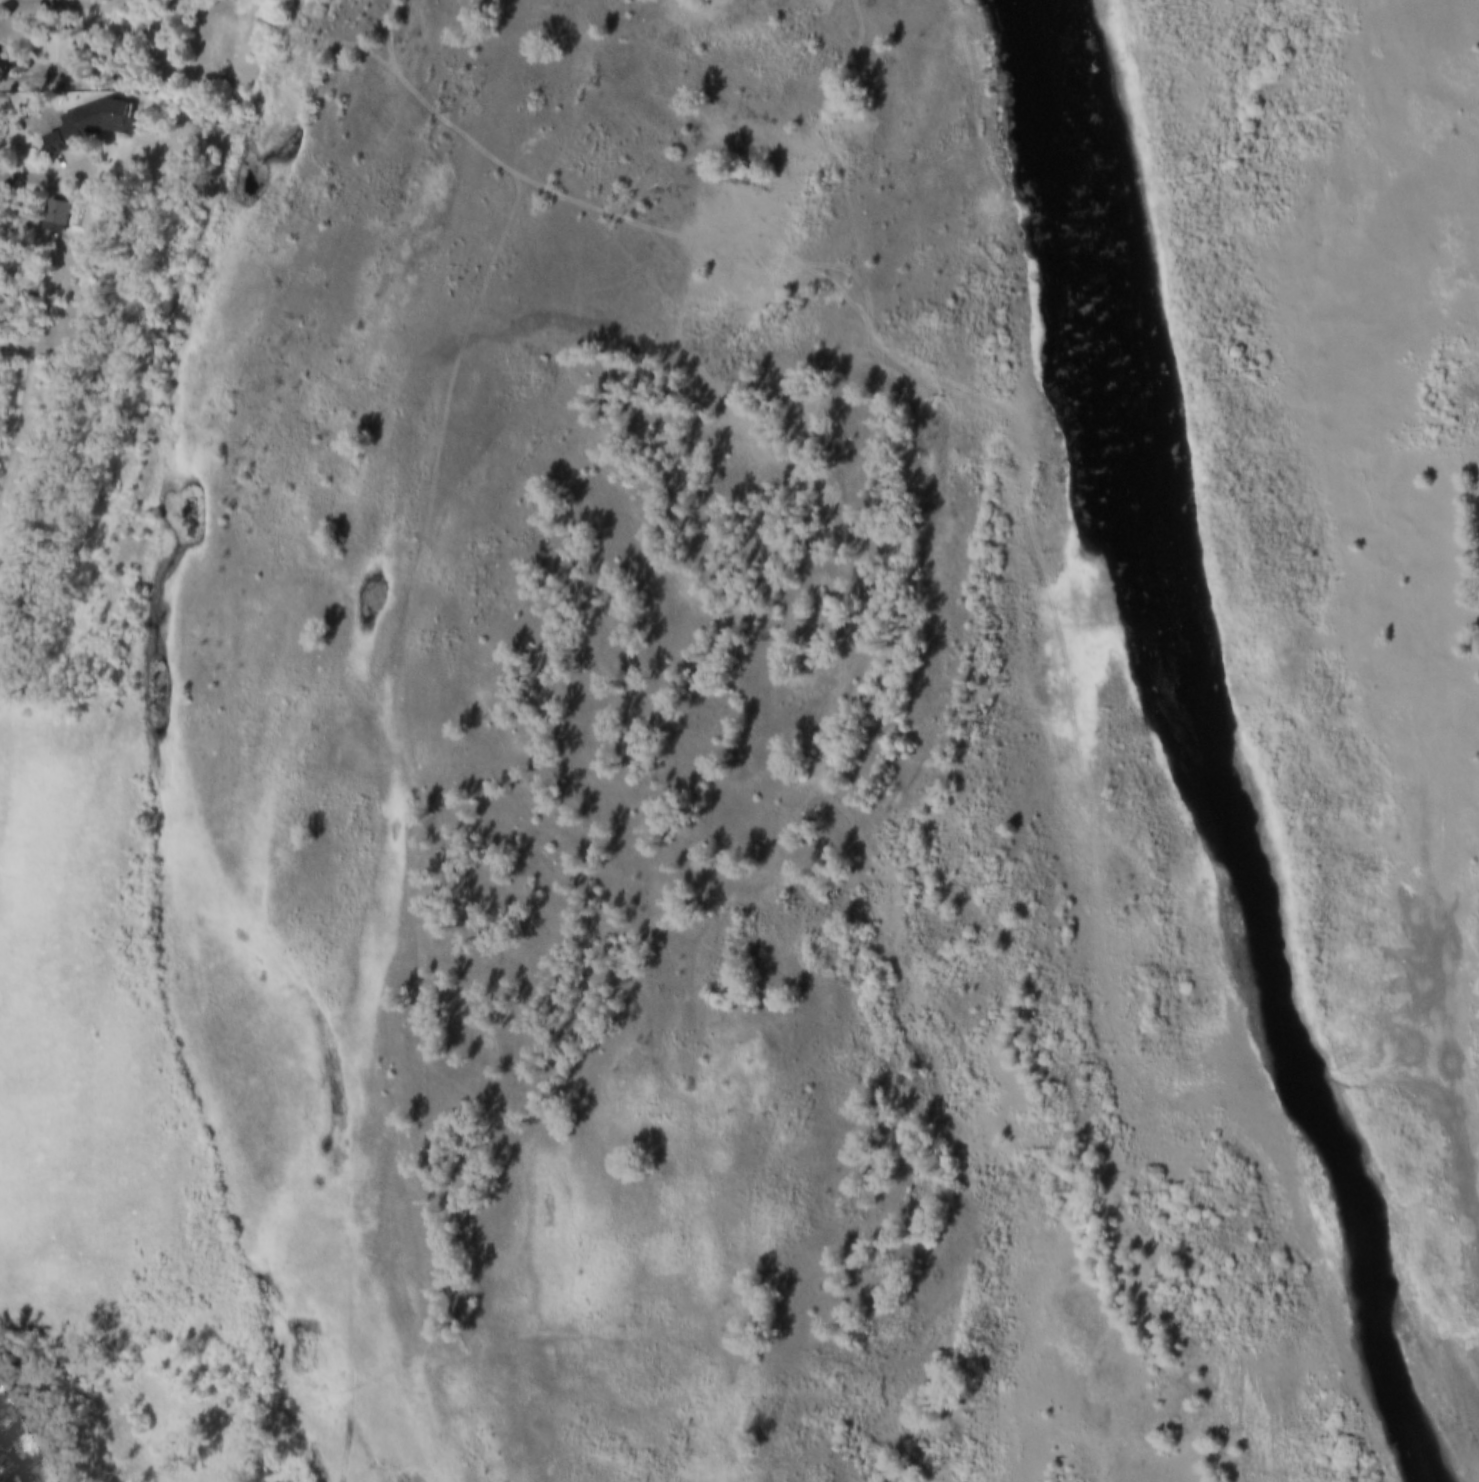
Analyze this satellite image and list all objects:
building: (112, 115)
building: (68, 133)
road: (37, 170)

